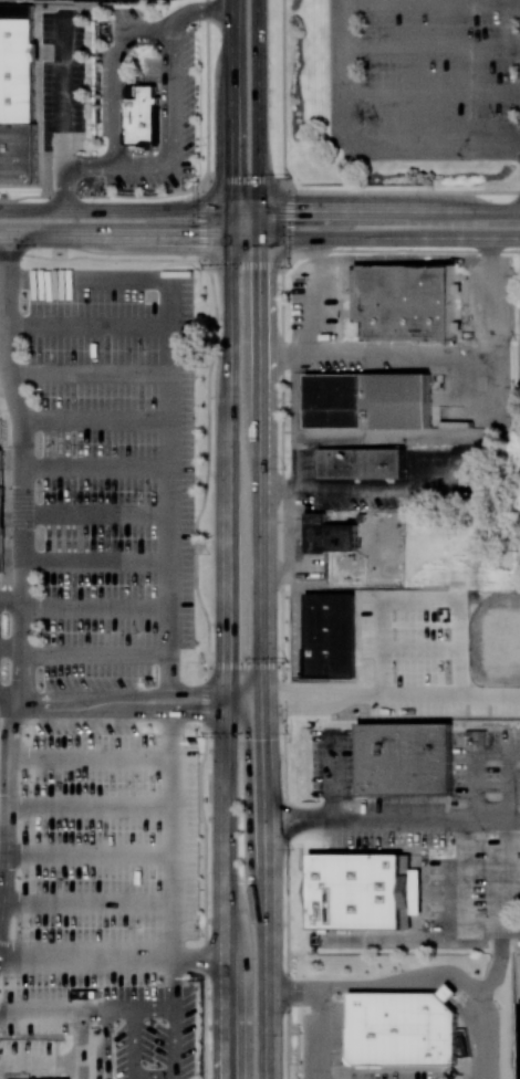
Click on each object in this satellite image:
building: (134, 0)
road: (435, 0)
road: (198, 13)
road: (434, 44)
road: (283, 90)
road: (434, 92)
building: (18, 93)
road: (65, 114)
building: (142, 115)
road: (231, 118)
road: (257, 118)
road: (363, 138)
road: (89, 169)
road: (118, 169)
road: (353, 190)
road: (198, 210)
traffic signals: (231, 210)
traffic signals: (257, 210)
road: (457, 222)
road: (199, 238)
traffic signals: (231, 238)
traffic signals: (257, 238)
road: (404, 250)
road: (242, 265)
building: (48, 284)
road: (493, 287)
road: (315, 296)
building: (405, 302)
building: (185, 337)
road: (378, 356)
building: (143, 395)
building: (366, 400)
road: (19, 427)
road: (396, 437)
road: (300, 462)
building: (362, 462)
parking lot: (111, 474)
road: (366, 486)
building: (1, 507)
building: (335, 533)
road: (196, 567)
road: (9, 645)
road: (17, 651)
road: (226, 658)
road: (264, 658)
road: (282, 672)
road: (392, 695)
road: (8, 696)
road: (200, 696)
traffic signals: (226, 696)
traffic signals: (266, 703)
road: (75, 704)
road: (201, 712)
traffic signals: (227, 713)
road: (92, 756)
building: (405, 760)
road: (478, 766)
road: (330, 775)
road: (9, 811)
road: (449, 816)
road: (490, 816)
road: (169, 836)
parking lot: (105, 859)
road: (505, 872)
building: (355, 891)
building: (409, 891)
road: (112, 960)
road: (486, 983)
road: (381, 985)
road: (455, 994)
building: (454, 995)
road: (75, 1010)
road: (152, 1010)
road: (319, 1010)
building: (402, 1029)
parking lot: (155, 1031)
road: (482, 1039)
building: (519, 1040)
road: (102, 1045)
road: (107, 1057)
road: (154, 1078)
road: (174, 1078)

